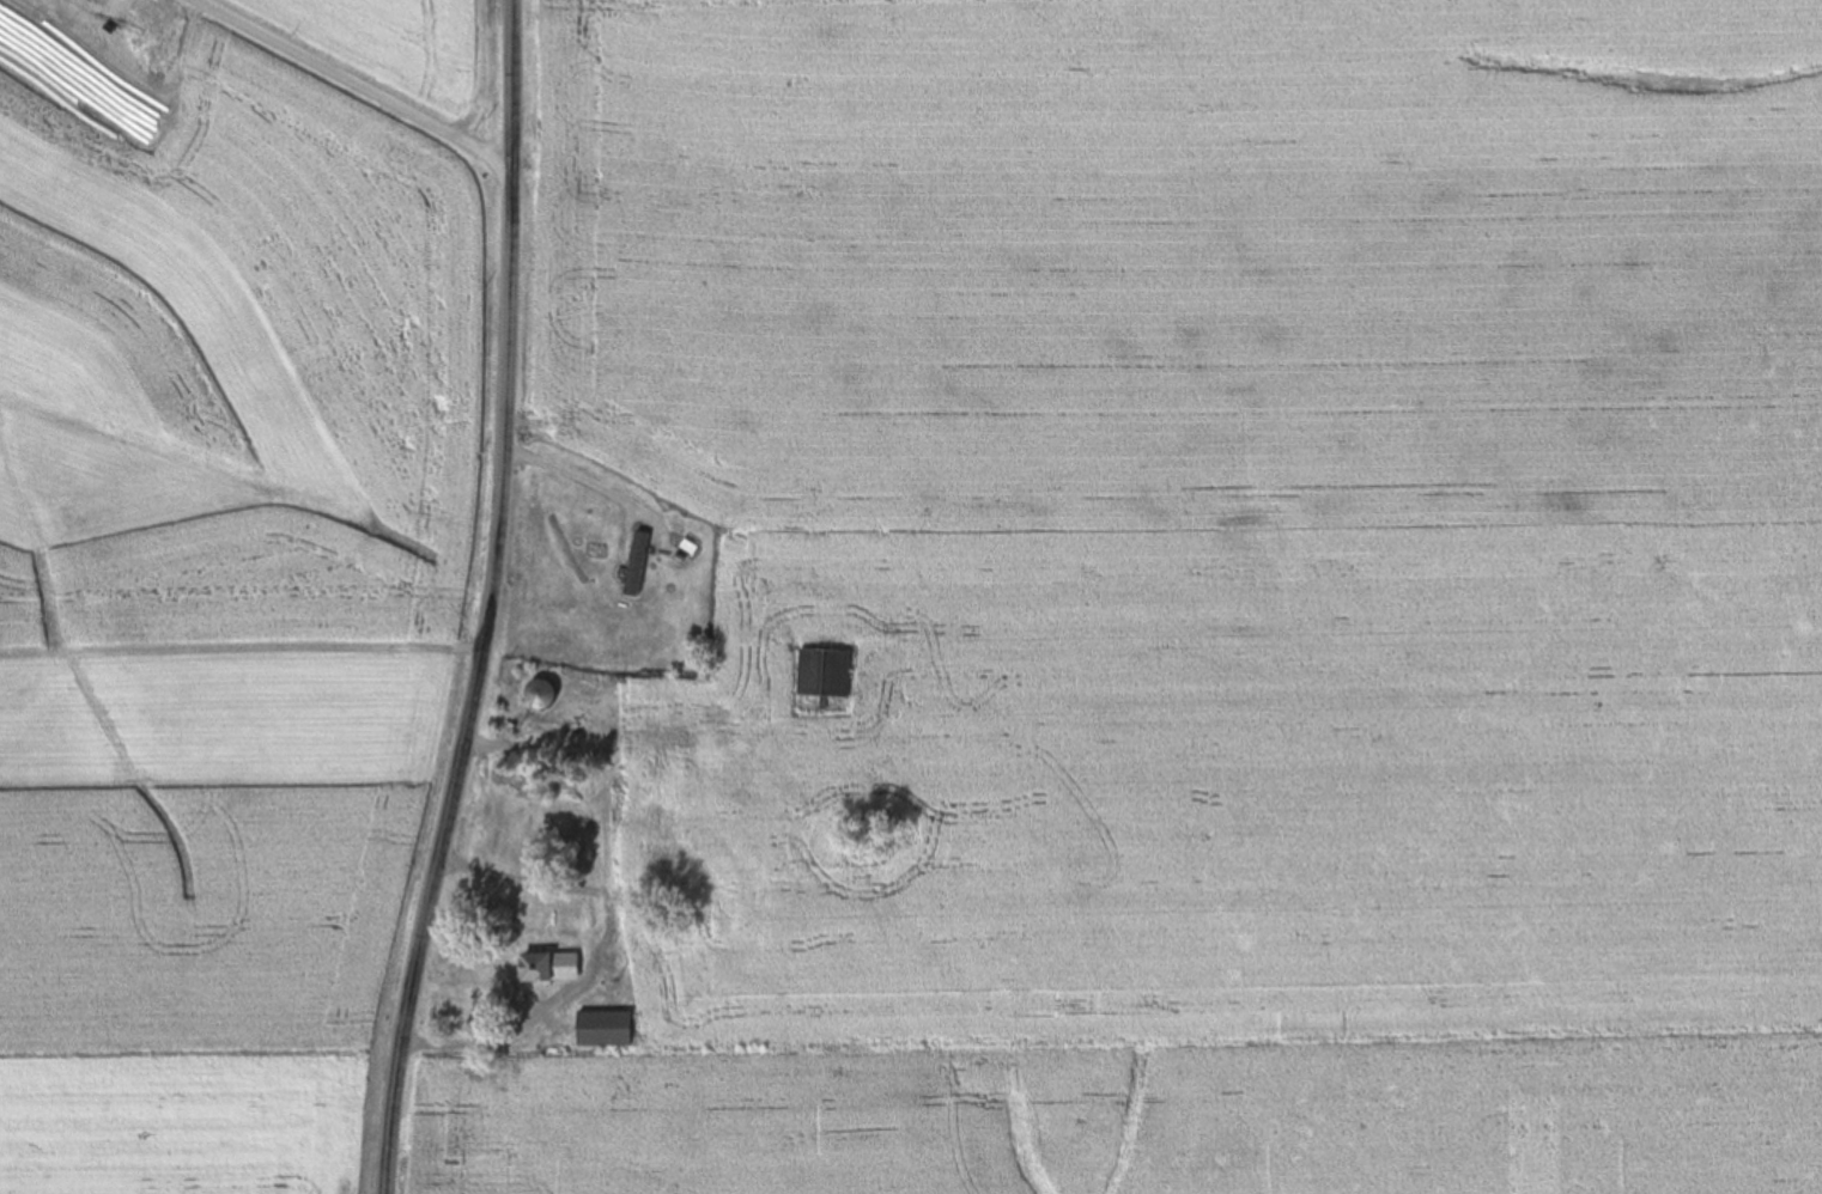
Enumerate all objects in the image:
road: (351, 85)
building: (637, 562)
road: (485, 599)
building: (824, 671)
building: (541, 694)
building: (548, 965)
building: (605, 1027)

